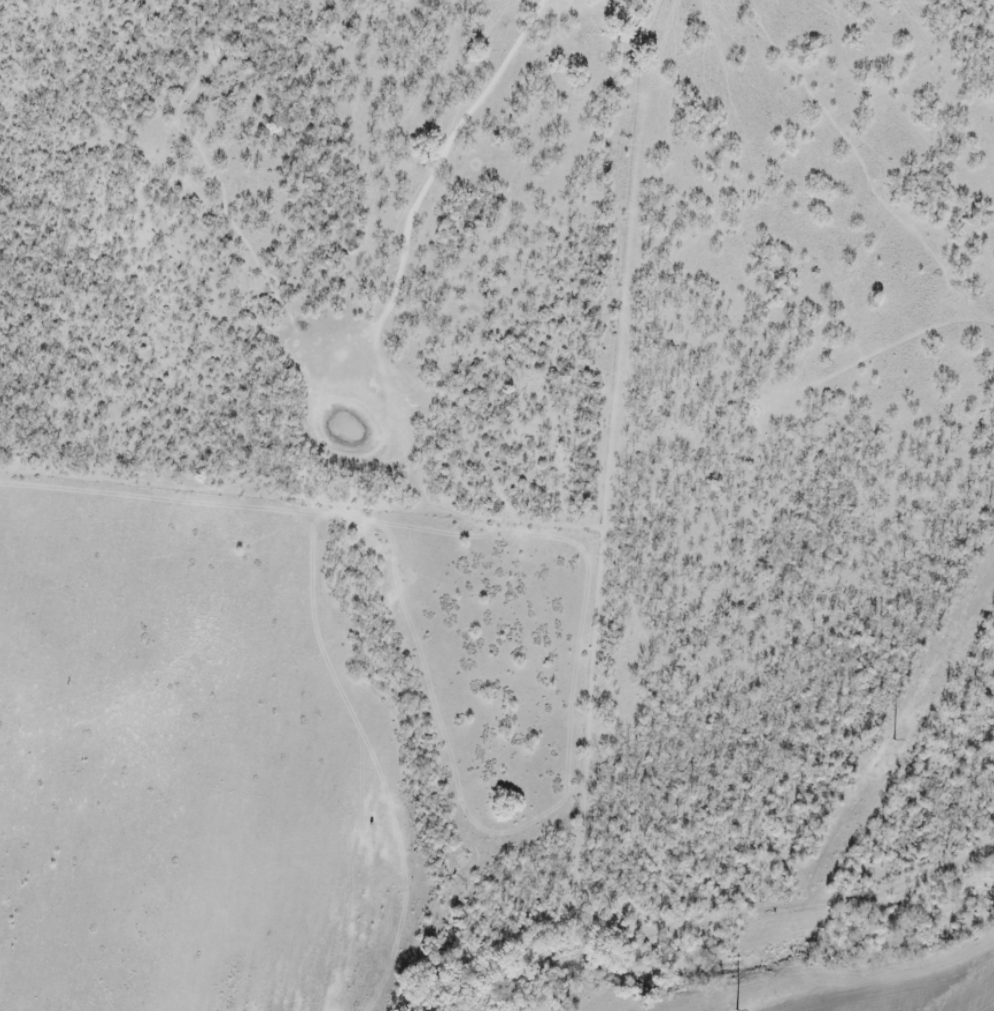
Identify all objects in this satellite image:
power tower: (895, 739)
power tower: (736, 1010)

